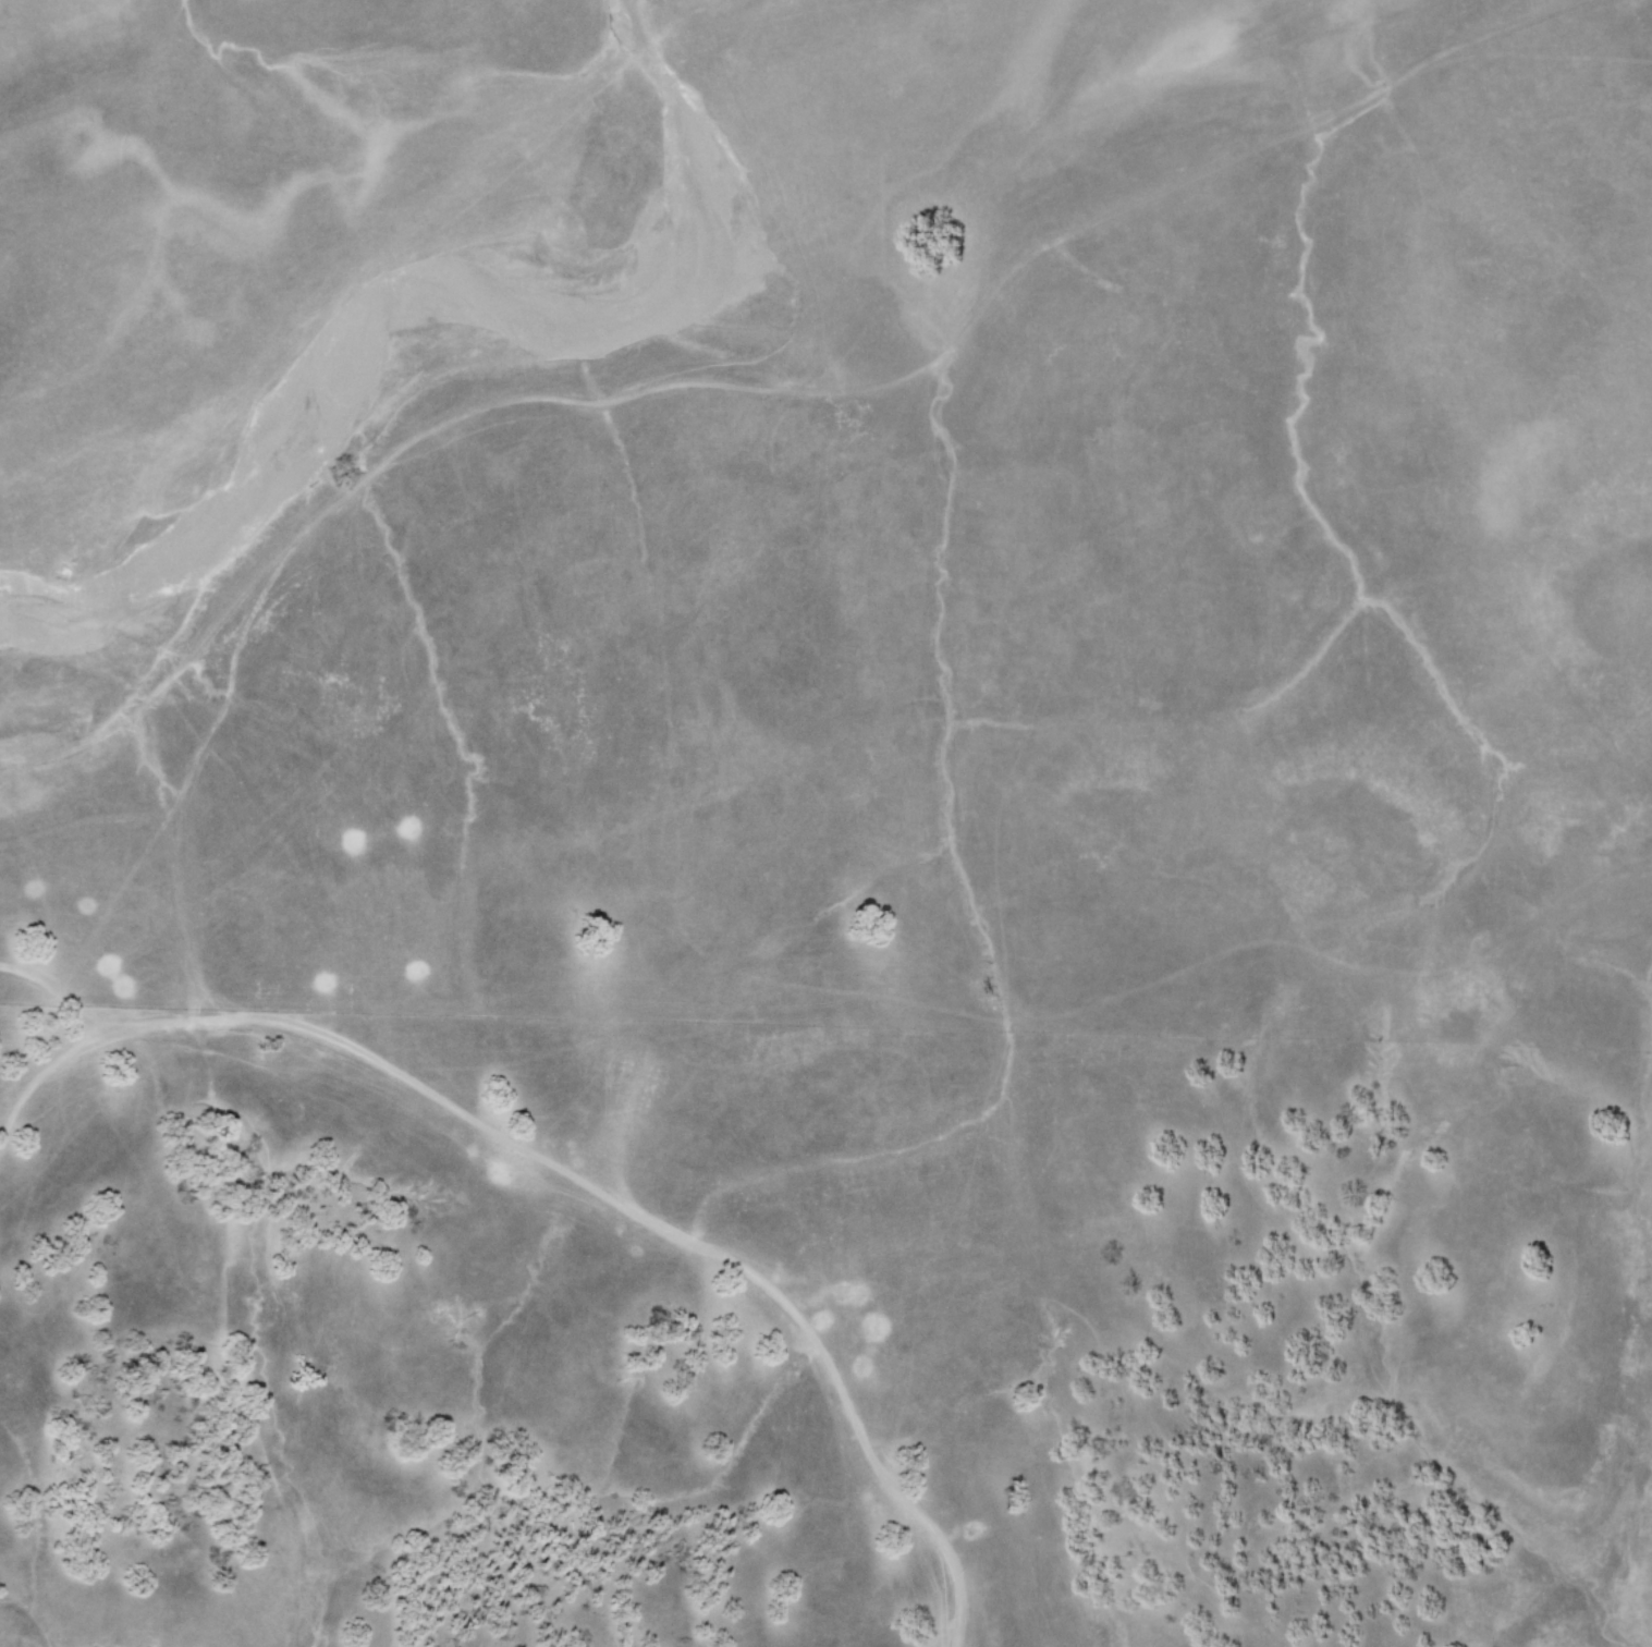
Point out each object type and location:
river: (417, 304)
road: (51, 987)
road: (36, 1074)
road: (625, 1208)

